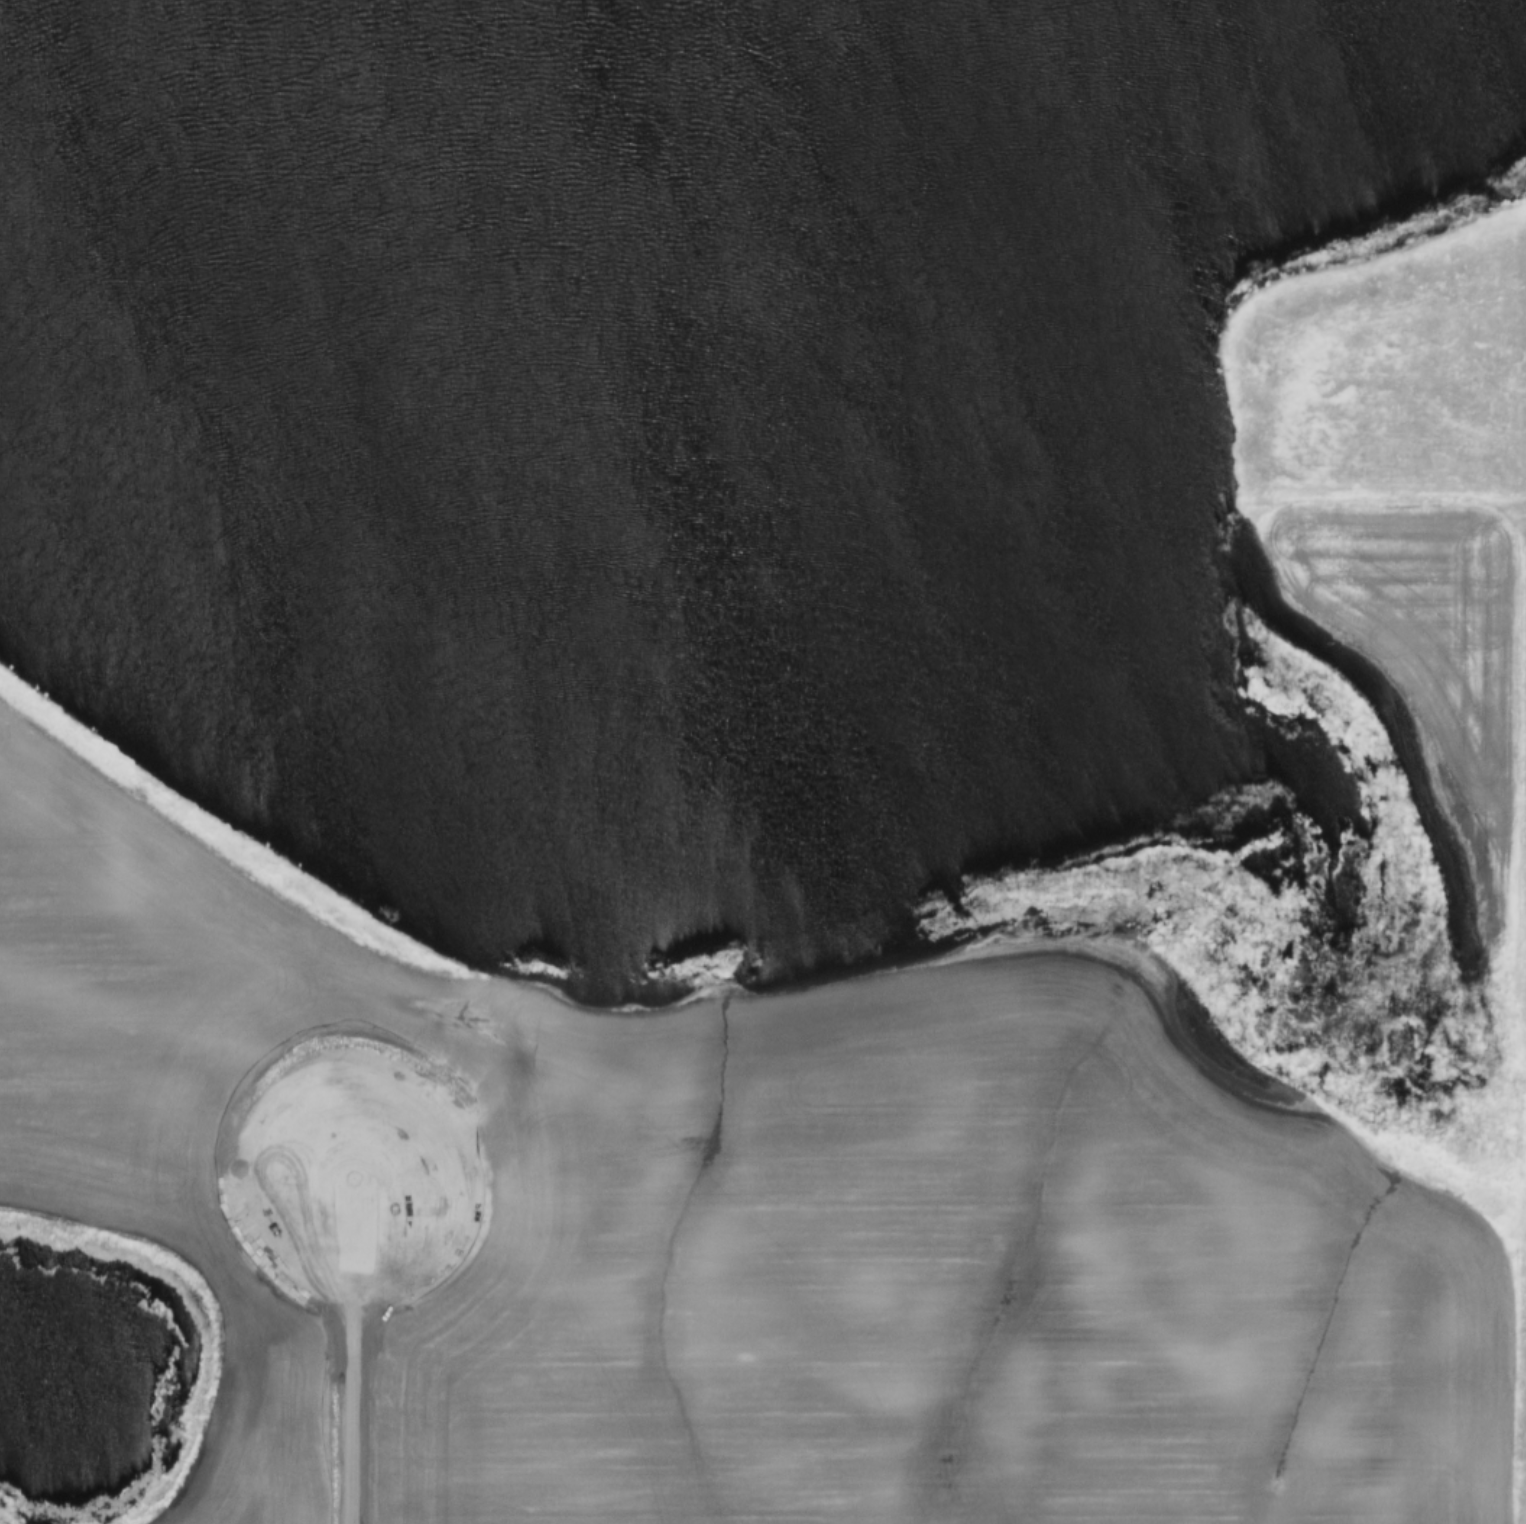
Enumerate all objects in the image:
road: (798, 936)
wind turbine: (359, 1180)

